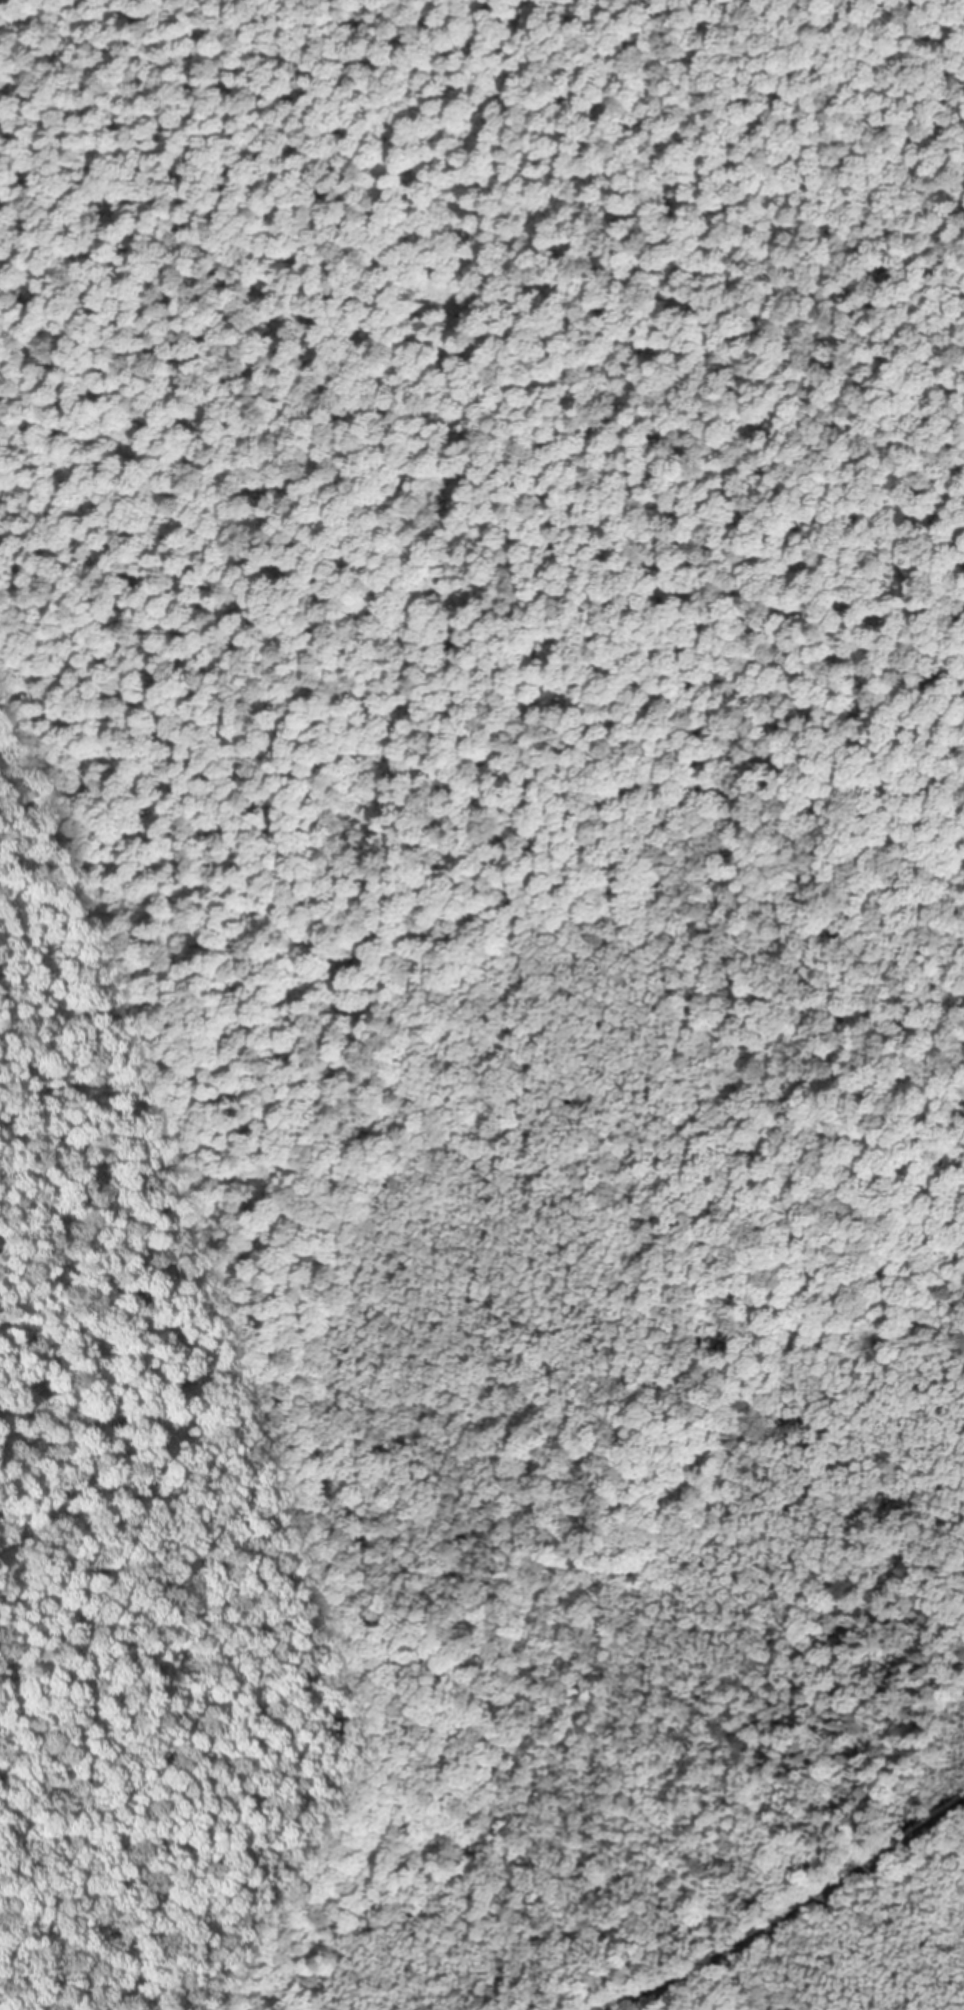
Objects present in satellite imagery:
road: (794, 1916)

